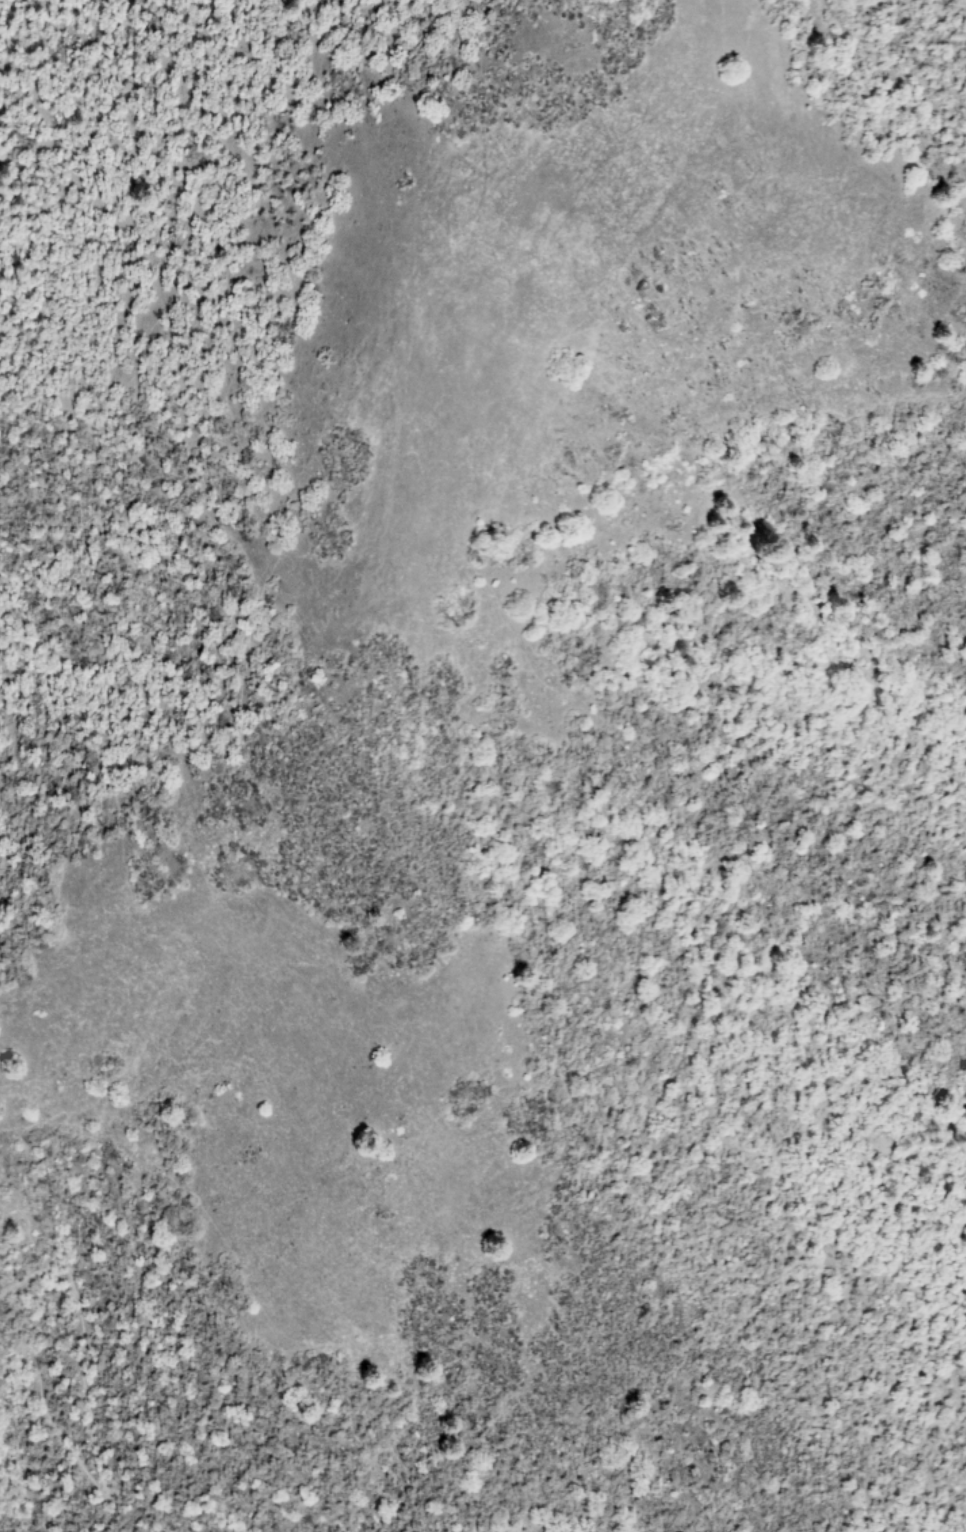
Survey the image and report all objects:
road: (544, 10)
road: (95, 1441)

